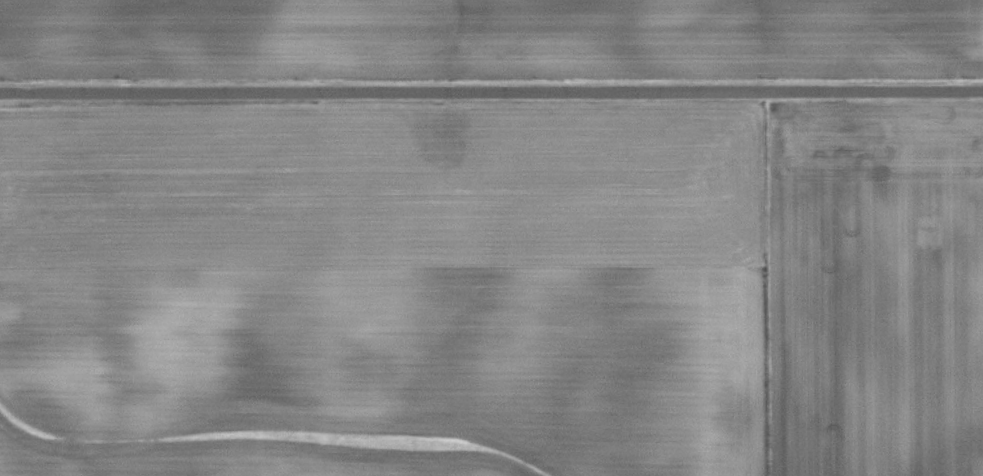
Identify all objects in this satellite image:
road: (491, 86)

